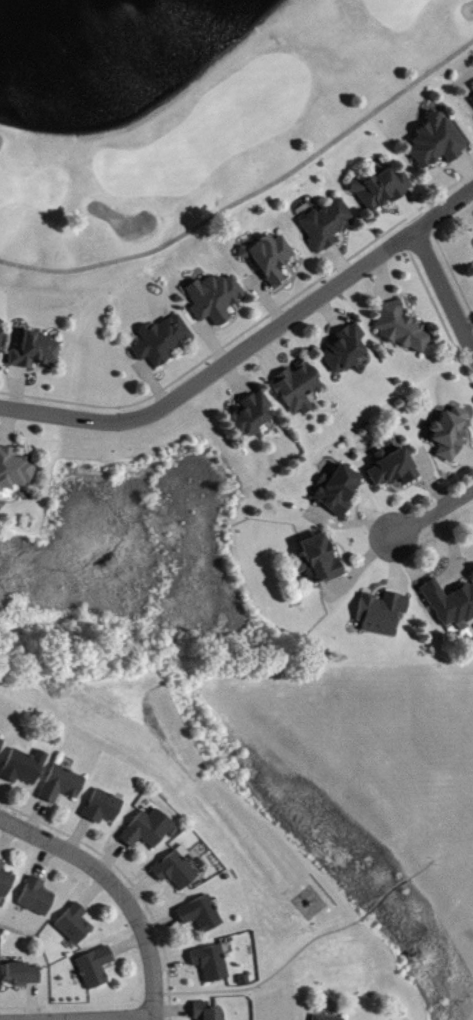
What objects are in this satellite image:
park: (189, 121)
building: (437, 143)
building: (383, 189)
road: (252, 198)
building: (327, 225)
building: (271, 258)
road: (446, 285)
building: (215, 299)
building: (402, 328)
building: (163, 341)
building: (1, 342)
road: (250, 347)
building: (345, 350)
building: (37, 352)
building: (298, 389)
building: (253, 416)
building: (449, 434)
building: (394, 468)
building: (16, 470)
building: (338, 491)
road: (435, 514)
building: (319, 561)
building: (452, 605)
building: (382, 614)
building: (1, 744)
building: (25, 767)
building: (63, 785)
building: (103, 808)
building: (144, 832)
building: (177, 869)
building: (6, 881)
road: (119, 888)
building: (38, 898)
building: (201, 914)
building: (76, 925)
building: (212, 964)
building: (96, 968)
building: (24, 975)
building: (207, 1012)
building: (323, 1018)

